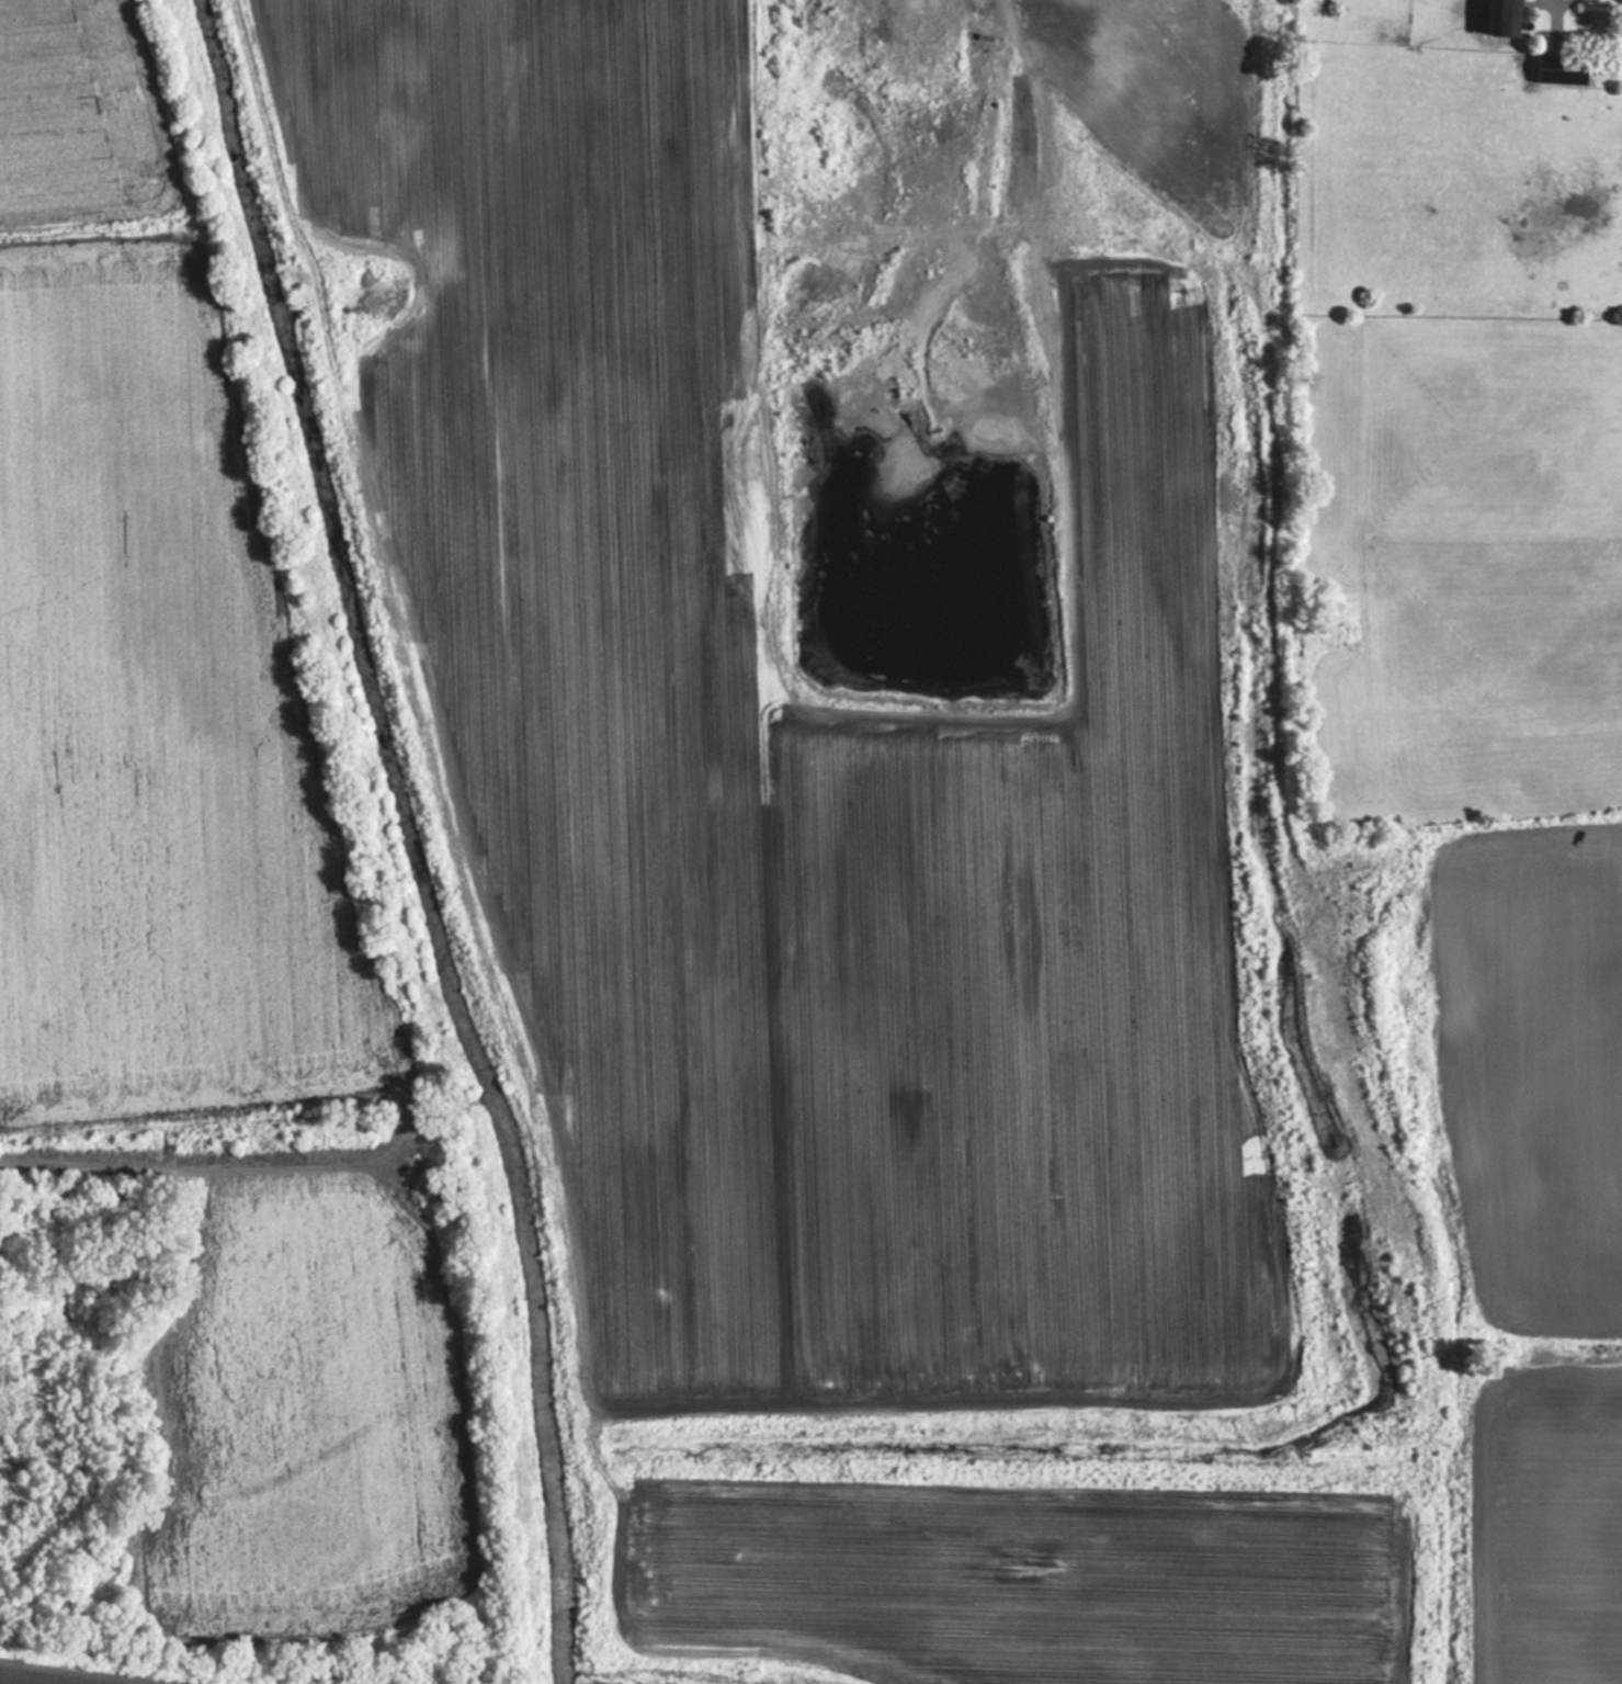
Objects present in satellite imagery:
building: (1506, 18)
building: (1561, 67)
railway: (63, 1675)
railway: (20, 1681)

